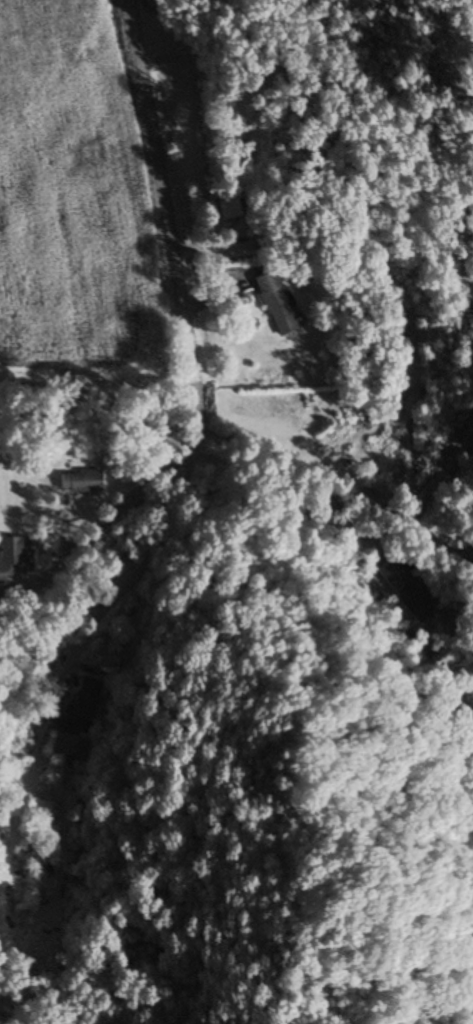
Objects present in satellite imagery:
road: (191, 347)
building: (472, 486)
road: (338, 489)
building: (401, 582)
road: (94, 625)

